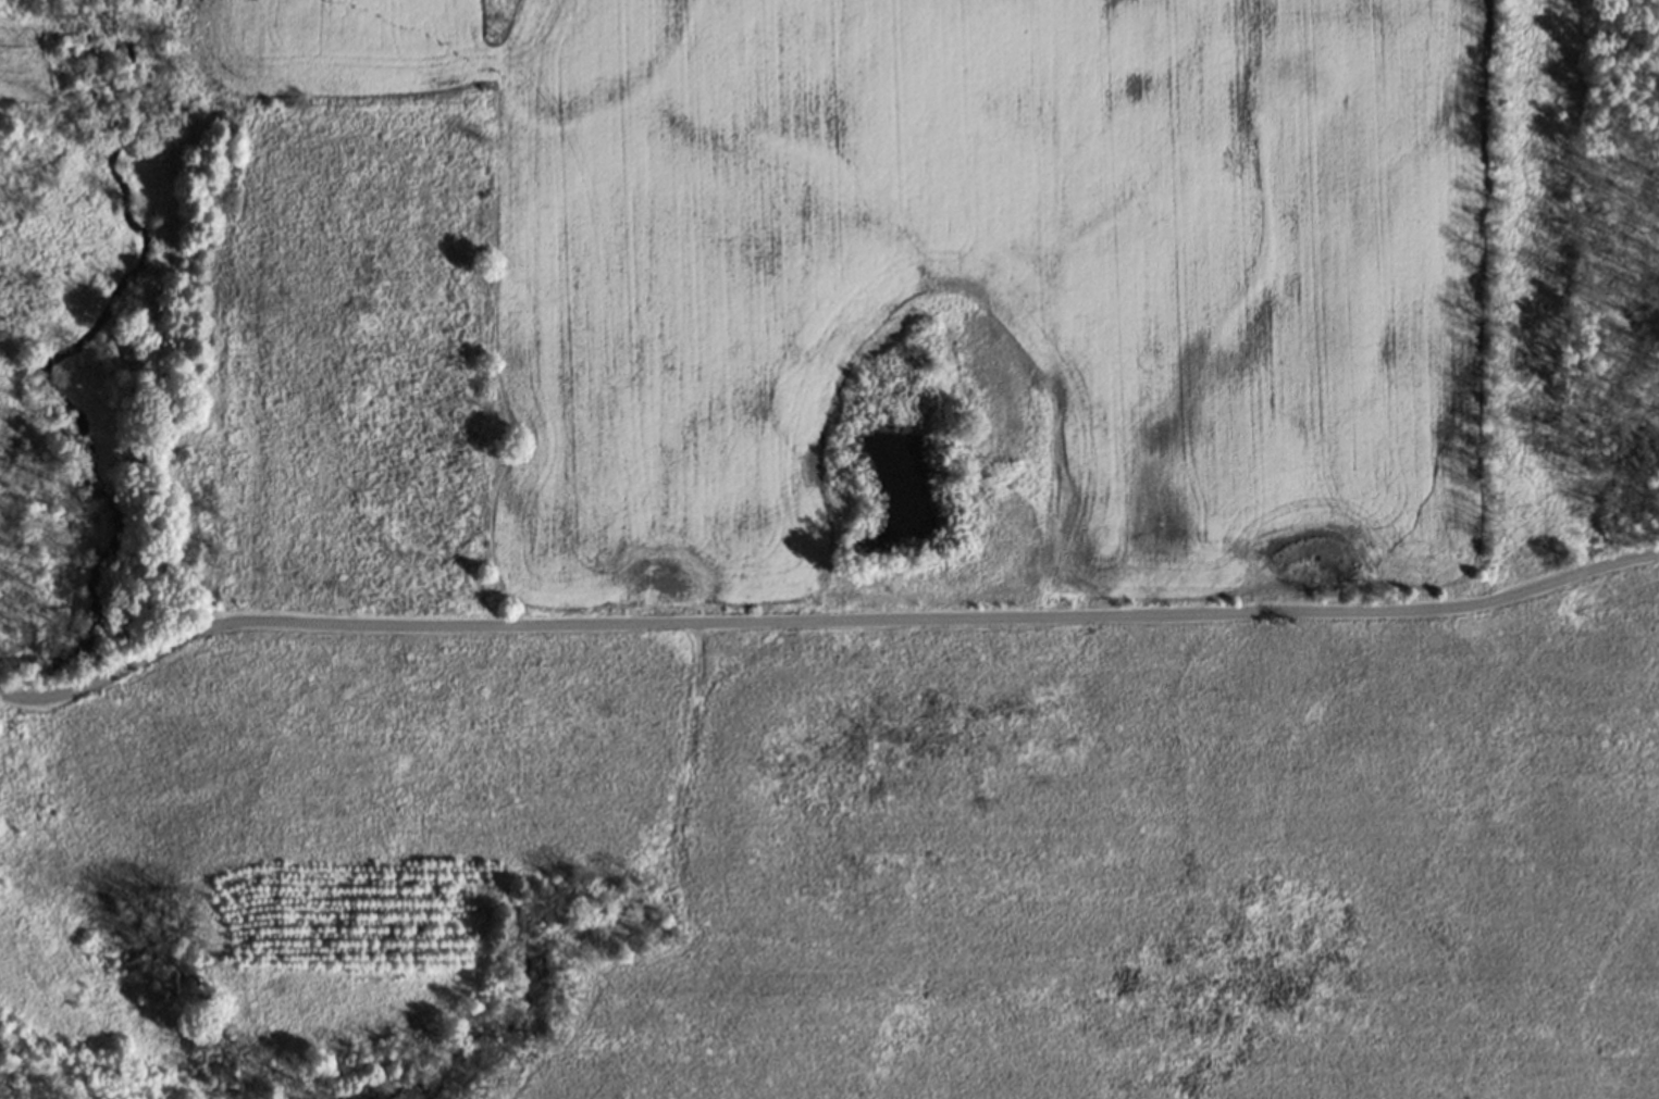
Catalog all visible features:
road: (824, 620)

